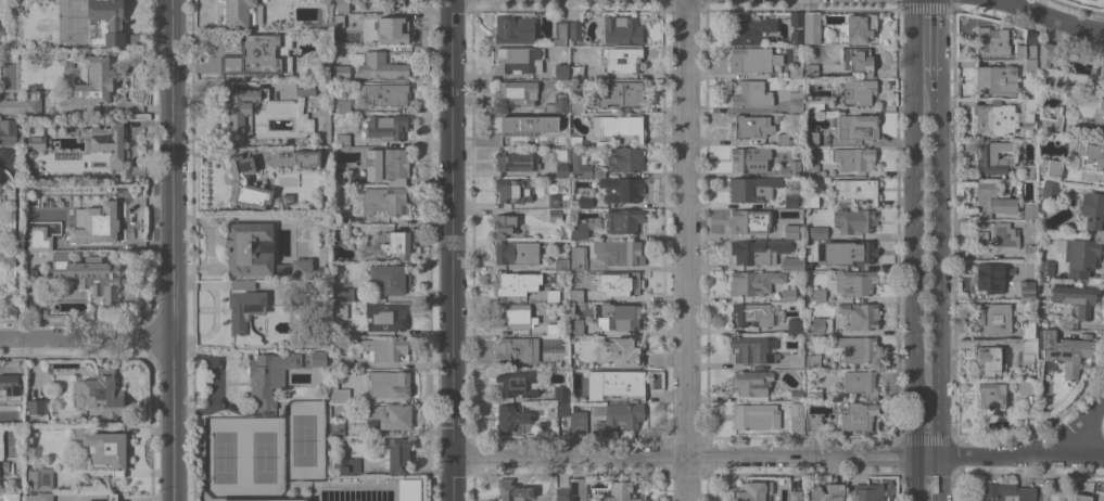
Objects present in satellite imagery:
building: (397, 2)
road: (1017, 2)
building: (342, 5)
park: (1, 7)
road: (926, 8)
building: (242, 13)
road: (1053, 17)
building: (796, 18)
building: (337, 21)
building: (105, 22)
building: (811, 27)
building: (860, 27)
building: (392, 29)
building: (515, 29)
building: (621, 29)
building: (750, 29)
building: (575, 30)
building: (560, 33)
building: (796, 37)
building: (135, 39)
building: (991, 41)
building: (1027, 47)
building: (1049, 53)
building: (261, 54)
building: (752, 59)
building: (518, 60)
building: (621, 60)
building: (860, 60)
building: (1030, 64)
building: (381, 66)
building: (325, 67)
building: (1099, 69)
building: (811, 70)
building: (341, 72)
building: (561, 72)
building: (576, 72)
building: (795, 73)
building: (997, 79)
building: (90, 85)
building: (304, 89)
building: (858, 91)
building: (383, 93)
building: (517, 93)
building: (623, 94)
building: (751, 94)
building: (796, 100)
building: (557, 103)
building: (22, 105)
building: (343, 105)
building: (812, 105)
building: (575, 106)
building: (239, 107)
building: (1028, 108)
building: (1099, 112)
building: (995, 118)
building: (1051, 124)
building: (528, 125)
building: (619, 126)
building: (751, 126)
building: (386, 127)
building: (856, 127)
building: (10, 132)
building: (811, 138)
building: (343, 139)
building: (575, 139)
building: (783, 139)
building: (106, 140)
building: (35, 144)
building: (811, 152)
building: (748, 156)
building: (1091, 156)
building: (993, 157)
building: (854, 158)
building: (305, 159)
building: (625, 159)
building: (516, 160)
building: (386, 165)
building: (580, 165)
building: (1050, 166)
road: (173, 168)
building: (785, 168)
building: (561, 169)
building: (812, 170)
building: (598, 171)
building: (1028, 171)
building: (339, 176)
building: (246, 184)
building: (752, 189)
building: (856, 189)
building: (513, 190)
building: (623, 190)
building: (1050, 190)
building: (560, 196)
building: (287, 197)
building: (993, 198)
building: (383, 201)
building: (584, 201)
building: (787, 201)
building: (811, 201)
building: (1030, 210)
building: (1091, 211)
building: (555, 215)
building: (340, 217)
building: (855, 220)
building: (623, 221)
building: (748, 221)
building: (100, 222)
building: (503, 224)
building: (42, 230)
building: (578, 230)
building: (341, 231)
building: (787, 232)
building: (816, 232)
building: (997, 235)
building: (39, 239)
road: (16, 244)
building: (396, 244)
road: (452, 249)
road: (681, 251)
building: (758, 251)
road: (925, 251)
building: (619, 252)
building: (850, 252)
building: (1028, 252)
building: (258, 253)
building: (517, 253)
building: (1081, 256)
building: (578, 257)
building: (792, 262)
building: (561, 264)
building: (1045, 269)
building: (89, 274)
building: (990, 278)
building: (391, 279)
building: (619, 282)
building: (751, 282)
building: (854, 282)
building: (511, 284)
building: (245, 285)
building: (340, 291)
building: (1027, 293)
building: (789, 294)
building: (819, 294)
building: (553, 295)
building: (576, 295)
building: (808, 298)
building: (1075, 298)
building: (249, 313)
building: (751, 313)
building: (564, 314)
building: (513, 316)
building: (860, 316)
building: (386, 317)
building: (619, 317)
building: (992, 318)
building: (338, 324)
building: (794, 325)
building: (821, 325)
building: (578, 326)
building: (553, 329)
building: (1028, 330)
road: (87, 337)
building: (385, 348)
building: (856, 348)
building: (517, 349)
building: (753, 349)
building: (1029, 350)
building: (1066, 350)
building: (619, 351)
building: (316, 358)
building: (796, 360)
building: (989, 360)
building: (342, 361)
building: (813, 361)
building: (269, 376)
building: (859, 381)
building: (752, 382)
building: (389, 383)
building: (517, 383)
building: (11, 384)
building: (614, 385)
building: (1026, 387)
building: (102, 394)
building: (339, 394)
building: (561, 394)
building: (796, 395)
building: (814, 395)
building: (991, 395)
building: (37, 407)
building: (562, 409)
building: (1, 413)
building: (390, 415)
building: (756, 415)
building: (621, 416)
building: (797, 416)
building: (859, 416)
building: (511, 418)
road: (175, 419)
building: (578, 422)
building: (813, 423)
building: (338, 427)
road: (1076, 429)
building: (7, 435)
park: (302, 439)
building: (104, 448)
building: (396, 452)
road: (777, 455)
park: (264, 460)
park: (224, 461)
building: (345, 465)
building: (4, 466)
building: (40, 478)
building: (769, 486)
building: (407, 489)
building: (579, 489)
building: (512, 491)
building: (1005, 491)
building: (620, 492)
building: (750, 492)
building: (825, 492)
building: (867, 492)
building: (562, 494)
building: (11, 497)
building: (40, 497)
building: (113, 497)
building: (796, 497)
building: (1082, 497)
building: (259, 500)

